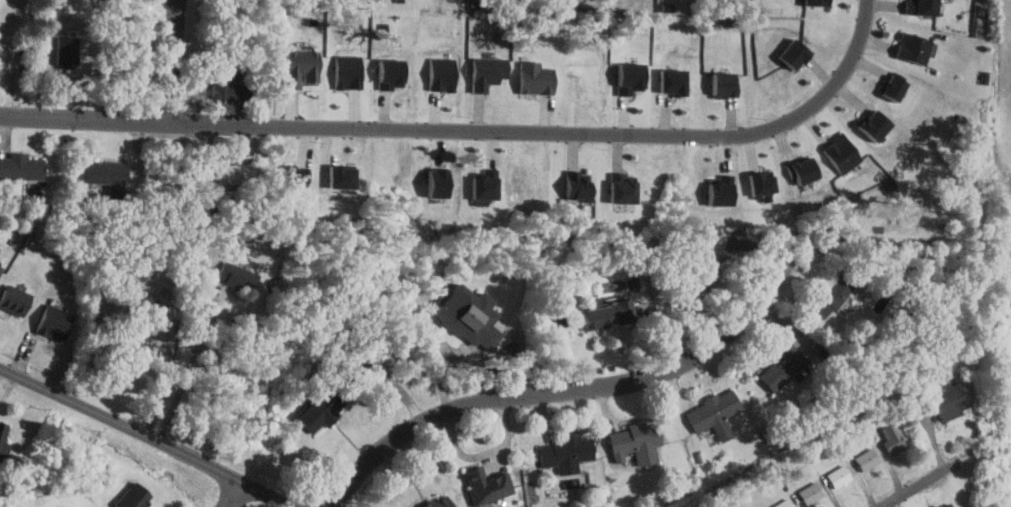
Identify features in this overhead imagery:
building: (813, 2)
building: (920, 7)
building: (911, 48)
building: (790, 54)
road: (170, 59)
building: (300, 68)
building: (343, 71)
building: (389, 73)
building: (489, 73)
building: (439, 74)
building: (536, 77)
building: (628, 77)
building: (231, 78)
building: (670, 80)
building: (718, 84)
building: (892, 86)
building: (872, 126)
road: (472, 129)
building: (837, 156)
building: (21, 167)
building: (239, 172)
building: (799, 172)
building: (289, 176)
building: (110, 177)
building: (338, 178)
building: (434, 182)
building: (482, 183)
building: (757, 183)
building: (575, 184)
building: (620, 188)
building: (718, 194)
building: (0, 266)
building: (1, 271)
building: (238, 278)
building: (695, 283)
building: (834, 292)
building: (15, 301)
building: (470, 314)
building: (610, 314)
building: (54, 325)
road: (437, 337)
building: (141, 350)
building: (783, 366)
road: (185, 375)
road: (565, 388)
building: (330, 401)
building: (949, 401)
building: (717, 415)
building: (2, 433)
road: (144, 437)
building: (638, 441)
building: (895, 441)
building: (567, 455)
building: (868, 460)
building: (839, 476)
building: (490, 486)
road: (913, 487)
building: (811, 495)
road: (234, 496)
building: (134, 497)
building: (442, 502)
building: (784, 503)
building: (945, 505)

